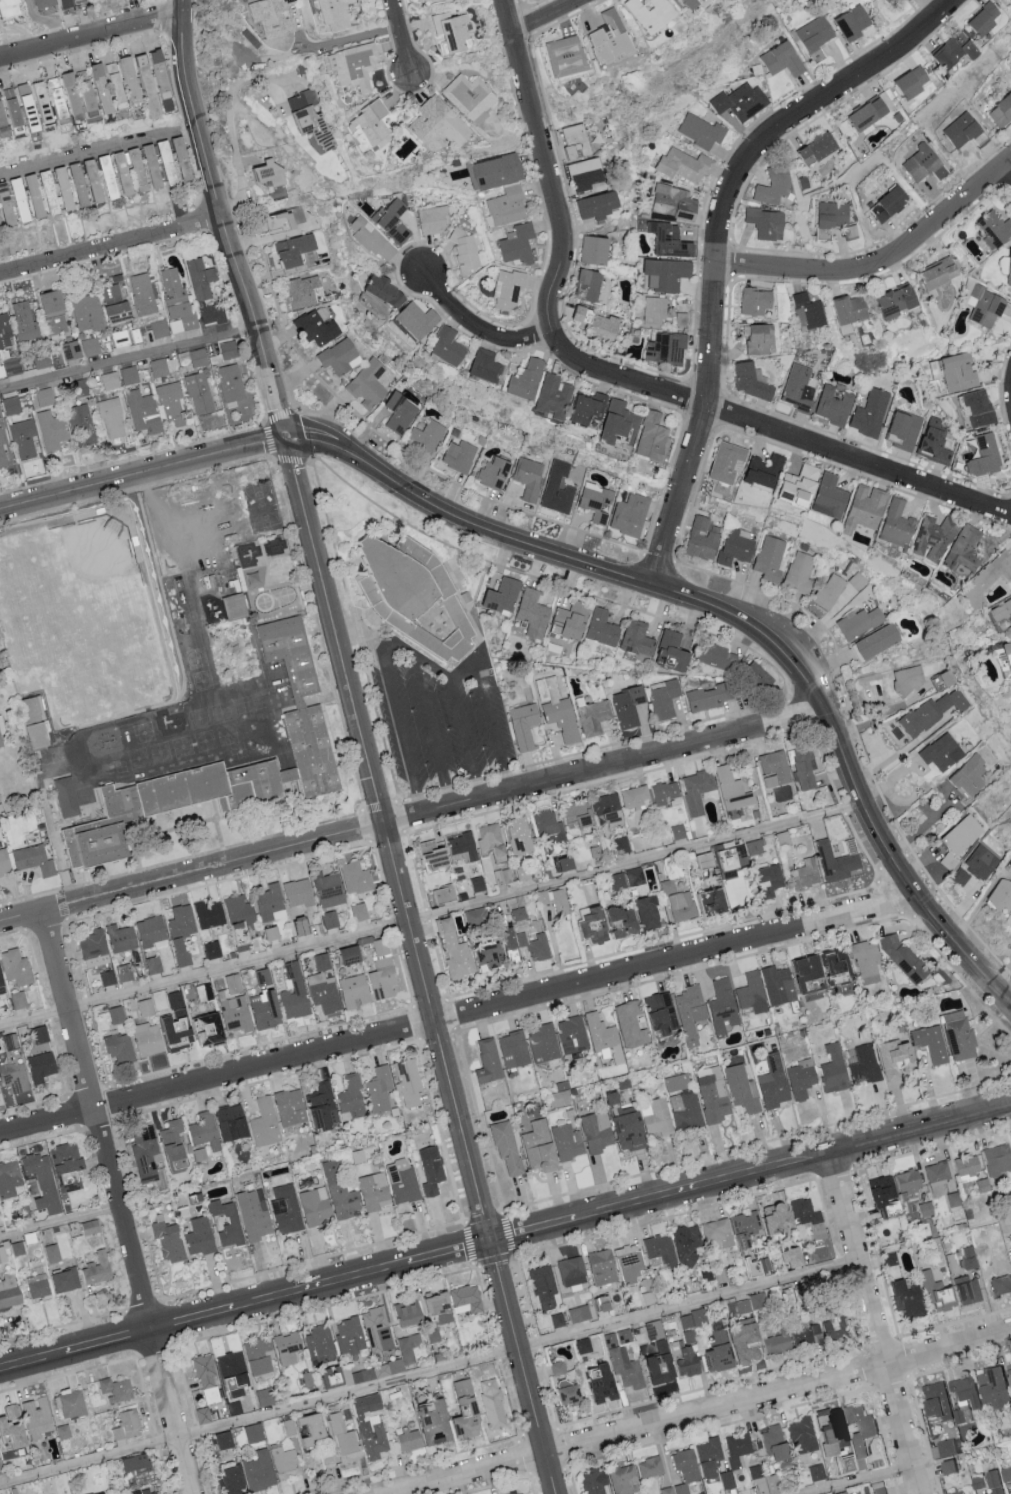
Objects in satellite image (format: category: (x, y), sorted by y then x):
building: (887, 0)
building: (906, 0)
building: (78, 1)
building: (1009, 1)
building: (46, 3)
building: (687, 3)
building: (65, 4)
building: (11, 7)
road: (185, 7)
building: (649, 13)
building: (336, 14)
road: (551, 16)
building: (981, 19)
building: (850, 22)
building: (454, 30)
building: (608, 34)
building: (813, 37)
road: (403, 38)
road: (92, 39)
road: (349, 39)
building: (952, 51)
building: (564, 56)
building: (782, 59)
building: (353, 66)
building: (156, 74)
building: (132, 80)
building: (116, 82)
building: (907, 82)
building: (89, 91)
road: (231, 93)
building: (471, 96)
building: (25, 100)
building: (739, 101)
building: (43, 102)
building: (59, 103)
building: (999, 110)
building: (9, 113)
building: (863, 113)
building: (440, 125)
building: (371, 126)
building: (313, 127)
building: (699, 131)
building: (957, 131)
building: (571, 141)
building: (812, 147)
road: (99, 150)
building: (184, 158)
building: (169, 162)
building: (917, 164)
building: (682, 165)
building: (147, 168)
road: (1008, 168)
building: (498, 171)
building: (271, 172)
building: (580, 174)
building: (111, 177)
building: (96, 181)
building: (81, 185)
building: (770, 187)
building: (67, 189)
road: (242, 191)
building: (52, 192)
building: (37, 196)
building: (22, 200)
building: (672, 202)
building: (8, 204)
building: (885, 205)
building: (507, 206)
building: (592, 206)
building: (828, 217)
building: (434, 220)
building: (395, 221)
building: (282, 222)
building: (357, 222)
building: (764, 223)
building: (0, 224)
building: (991, 228)
road: (227, 231)
building: (851, 231)
building: (667, 241)
building: (375, 243)
building: (518, 243)
road: (718, 243)
road: (111, 245)
building: (296, 249)
building: (467, 251)
building: (591, 251)
road: (881, 265)
building: (1007, 268)
building: (664, 274)
building: (933, 274)
building: (202, 279)
building: (585, 284)
building: (508, 289)
building: (386, 290)
building: (304, 291)
building: (144, 294)
building: (177, 300)
building: (753, 301)
building: (890, 302)
building: (117, 304)
building: (986, 307)
building: (654, 311)
building: (808, 312)
building: (56, 313)
building: (88, 313)
building: (845, 313)
building: (215, 315)
building: (575, 315)
building: (680, 319)
building: (25, 320)
building: (419, 320)
building: (318, 328)
road: (479, 328)
building: (598, 328)
building: (160, 329)
building: (5, 332)
building: (127, 337)
building: (757, 339)
building: (91, 347)
building: (450, 347)
building: (664, 349)
building: (73, 350)
building: (230, 350)
building: (200, 357)
building: (341, 357)
building: (43, 360)
road: (128, 361)
building: (180, 362)
building: (486, 365)
building: (160, 367)
building: (11, 368)
building: (949, 373)
building: (130, 375)
road: (612, 376)
building: (527, 379)
building: (748, 380)
building: (111, 381)
building: (231, 383)
building: (367, 386)
building: (82, 387)
building: (796, 392)
building: (200, 394)
building: (555, 396)
building: (46, 397)
building: (174, 404)
building: (832, 405)
building: (13, 406)
building: (589, 408)
building: (975, 408)
building: (144, 412)
building: (1, 413)
building: (402, 413)
building: (869, 413)
building: (113, 418)
building: (619, 421)
building: (83, 425)
building: (53, 430)
building: (428, 436)
building: (918, 436)
building: (653, 437)
building: (24, 439)
traffic signals: (288, 444)
building: (4, 451)
building: (460, 456)
building: (724, 461)
building: (761, 470)
building: (494, 473)
road: (143, 476)
building: (530, 477)
building: (795, 484)
building: (559, 488)
building: (829, 497)
building: (598, 502)
building: (863, 507)
building: (631, 515)
building: (896, 524)
building: (701, 538)
building: (932, 538)
building: (736, 546)
building: (273, 548)
building: (965, 549)
building: (770, 558)
building: (248, 560)
building: (800, 573)
building: (440, 576)
building: (988, 577)
building: (387, 580)
building: (829, 590)
building: (503, 596)
building: (238, 611)
building: (533, 614)
road: (737, 618)
building: (570, 621)
building: (858, 621)
building: (602, 628)
building: (635, 638)
building: (875, 641)
road: (393, 645)
building: (669, 648)
building: (713, 655)
building: (1006, 656)
building: (233, 661)
road: (429, 664)
road: (463, 675)
building: (753, 675)
building: (944, 677)
building: (906, 679)
building: (706, 697)
building: (663, 699)
building: (626, 706)
building: (33, 710)
building: (931, 712)
building: (305, 713)
building: (594, 717)
building: (563, 719)
building: (525, 726)
building: (1, 730)
road: (494, 733)
building: (39, 736)
road: (464, 740)
building: (940, 752)
building: (803, 767)
road: (918, 767)
building: (773, 768)
building: (968, 774)
building: (694, 789)
building: (730, 789)
building: (661, 792)
building: (632, 796)
building: (68, 797)
building: (606, 809)
building: (175, 812)
building: (575, 813)
road: (413, 819)
building: (545, 825)
building: (678, 831)
building: (959, 834)
building: (517, 835)
building: (488, 838)
building: (620, 844)
building: (753, 846)
building: (462, 848)
building: (436, 856)
building: (729, 857)
building: (35, 860)
building: (699, 861)
building: (834, 861)
building: (948, 861)
building: (5, 862)
building: (560, 862)
building: (975, 866)
building: (805, 873)
building: (502, 876)
building: (357, 878)
building: (626, 878)
building: (766, 880)
building: (475, 884)
building: (667, 886)
building: (331, 890)
building: (735, 890)
building: (300, 893)
building: (998, 894)
building: (439, 895)
building: (552, 900)
building: (706, 901)
building: (271, 904)
building: (680, 905)
building: (360, 912)
building: (642, 912)
building: (240, 913)
building: (518, 913)
building: (211, 915)
building: (473, 915)
road: (431, 918)
building: (331, 920)
building: (183, 922)
building: (602, 922)
building: (304, 927)
building: (153, 931)
building: (273, 933)
building: (504, 937)
building: (123, 938)
building: (534, 945)
building: (383, 948)
building: (95, 949)
building: (213, 950)
building: (182, 952)
building: (464, 952)
building: (353, 956)
building: (865, 961)
building: (324, 962)
building: (834, 962)
building: (155, 965)
building: (17, 968)
road: (422, 969)
building: (126, 973)
building: (108, 978)
building: (264, 978)
building: (384, 979)
building: (789, 979)
building: (2, 981)
building: (234, 984)
building: (355, 992)
building: (206, 993)
building: (324, 993)
building: (751, 993)
building: (296, 995)
building: (19, 1000)
building: (721, 1006)
building: (147, 1008)
building: (266, 1010)
building: (689, 1012)
building: (236, 1014)
building: (117, 1016)
road: (459, 1017)
building: (644, 1018)
building: (178, 1024)
building: (211, 1030)
building: (571, 1034)
building: (957, 1034)
building: (40, 1035)
building: (603, 1037)
building: (149, 1040)
building: (12, 1042)
building: (543, 1042)
building: (929, 1042)
building: (121, 1047)
building: (512, 1049)
building: (893, 1057)
building: (487, 1060)
building: (865, 1065)
building: (43, 1067)
building: (832, 1069)
building: (15, 1077)
building: (800, 1077)
building: (407, 1082)
building: (676, 1082)
building: (772, 1082)
building: (378, 1089)
building: (741, 1089)
building: (0, 1092)
building: (350, 1098)
building: (713, 1100)
road: (1009, 1102)
road: (1009, 1105)
building: (306, 1106)
building: (685, 1110)
building: (654, 1116)
road: (97, 1123)
building: (232, 1123)
building: (265, 1123)
building: (624, 1130)
building: (205, 1131)
building: (594, 1131)
building: (566, 1141)
building: (1010, 1143)
building: (537, 1147)
building: (505, 1148)
building: (146, 1154)
building: (200, 1155)
building: (996, 1158)
building: (71, 1164)
building: (965, 1167)
building: (429, 1169)
road: (750, 1178)
building: (936, 1178)
building: (10, 1180)
building: (402, 1180)
building: (905, 1181)
building: (45, 1182)
building: (879, 1190)
building: (374, 1191)
building: (341, 1197)
building: (951, 1199)
building: (314, 1205)
building: (924, 1208)
building: (287, 1209)
building: (255, 1213)
building: (806, 1219)
building: (235, 1222)
building: (755, 1223)
road: (60, 1225)
building: (92, 1228)
building: (716, 1234)
building: (201, 1237)
building: (170, 1242)
building: (684, 1244)
building: (659, 1250)
building: (54, 1254)
building: (969, 1256)
building: (787, 1257)
building: (889, 1259)
building: (599, 1266)
building: (758, 1266)
building: (987, 1267)
building: (99, 1270)
building: (570, 1271)
building: (720, 1275)
building: (999, 1280)
building: (68, 1281)
building: (541, 1282)
building: (39, 1288)
building: (933, 1291)
building: (962, 1291)
building: (9, 1292)
building: (463, 1299)
building: (903, 1299)
road: (245, 1305)
building: (745, 1305)
building: (432, 1306)
building: (403, 1313)
building: (578, 1313)
building: (692, 1318)
building: (556, 1319)
road: (875, 1326)
building: (377, 1328)
building: (653, 1329)
building: (815, 1329)
building: (350, 1335)
building: (432, 1335)
building: (689, 1336)
building: (615, 1338)
building: (318, 1340)
building: (741, 1342)
building: (774, 1344)
building: (581, 1345)
building: (286, 1347)
building: (406, 1353)
building: (715, 1353)
building: (257, 1355)
building: (683, 1358)
building: (229, 1363)
building: (655, 1365)
building: (557, 1367)
building: (623, 1368)
building: (202, 1370)
building: (1008, 1373)
road: (429, 1374)
building: (327, 1378)
building: (307, 1379)
building: (596, 1384)
building: (991, 1386)
building: (117, 1389)
building: (562, 1393)
building: (209, 1395)
building: (964, 1397)
building: (261, 1398)
building: (934, 1400)
building: (73, 1403)
building: (492, 1403)
building: (233, 1408)
road: (168, 1411)
building: (463, 1411)
road: (703, 1412)
building: (201, 1415)
building: (39, 1416)
building: (431, 1421)
building: (128, 1425)
building: (825, 1425)
building: (14, 1428)
building: (369, 1428)
building: (856, 1428)
building: (302, 1429)
building: (252, 1433)
building: (799, 1435)
building: (340, 1439)
building: (406, 1439)
building: (219, 1440)
building: (771, 1443)
building: (948, 1446)
building: (736, 1449)
building: (283, 1459)
building: (138, 1461)
building: (692, 1464)
building: (947, 1465)
building: (647, 1467)
building: (1, 1468)
building: (259, 1470)
building: (815, 1472)
building: (1005, 1473)
building: (230, 1479)
building: (621, 1479)
road: (858, 1479)
building: (591, 1481)
building: (987, 1481)
building: (875, 1488)
building: (954, 1491)
building: (150, 1492)
building: (517, 1492)
building: (104, 1493)

